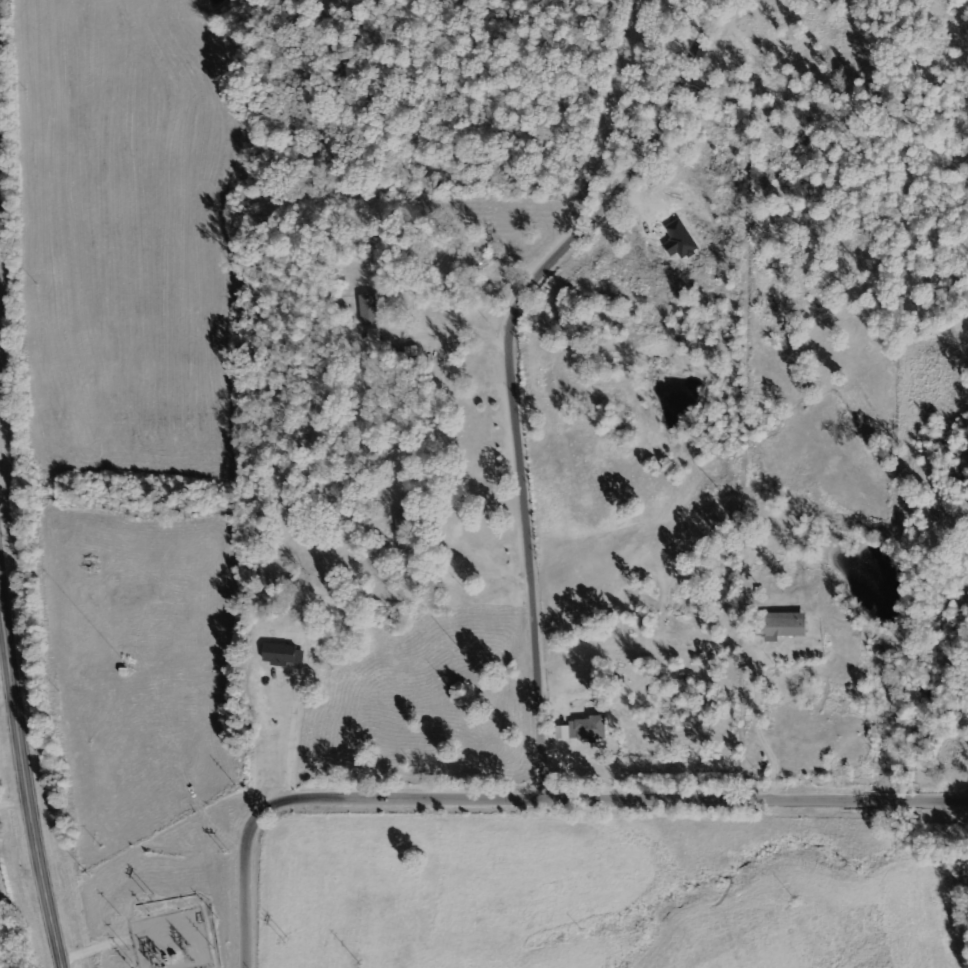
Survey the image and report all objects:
road: (735, 202)
building: (369, 309)
building: (373, 335)
road: (520, 365)
building: (404, 530)
building: (781, 625)
building: (283, 655)
building: (589, 728)
road: (25, 782)
road: (537, 793)
power substation: (170, 938)

